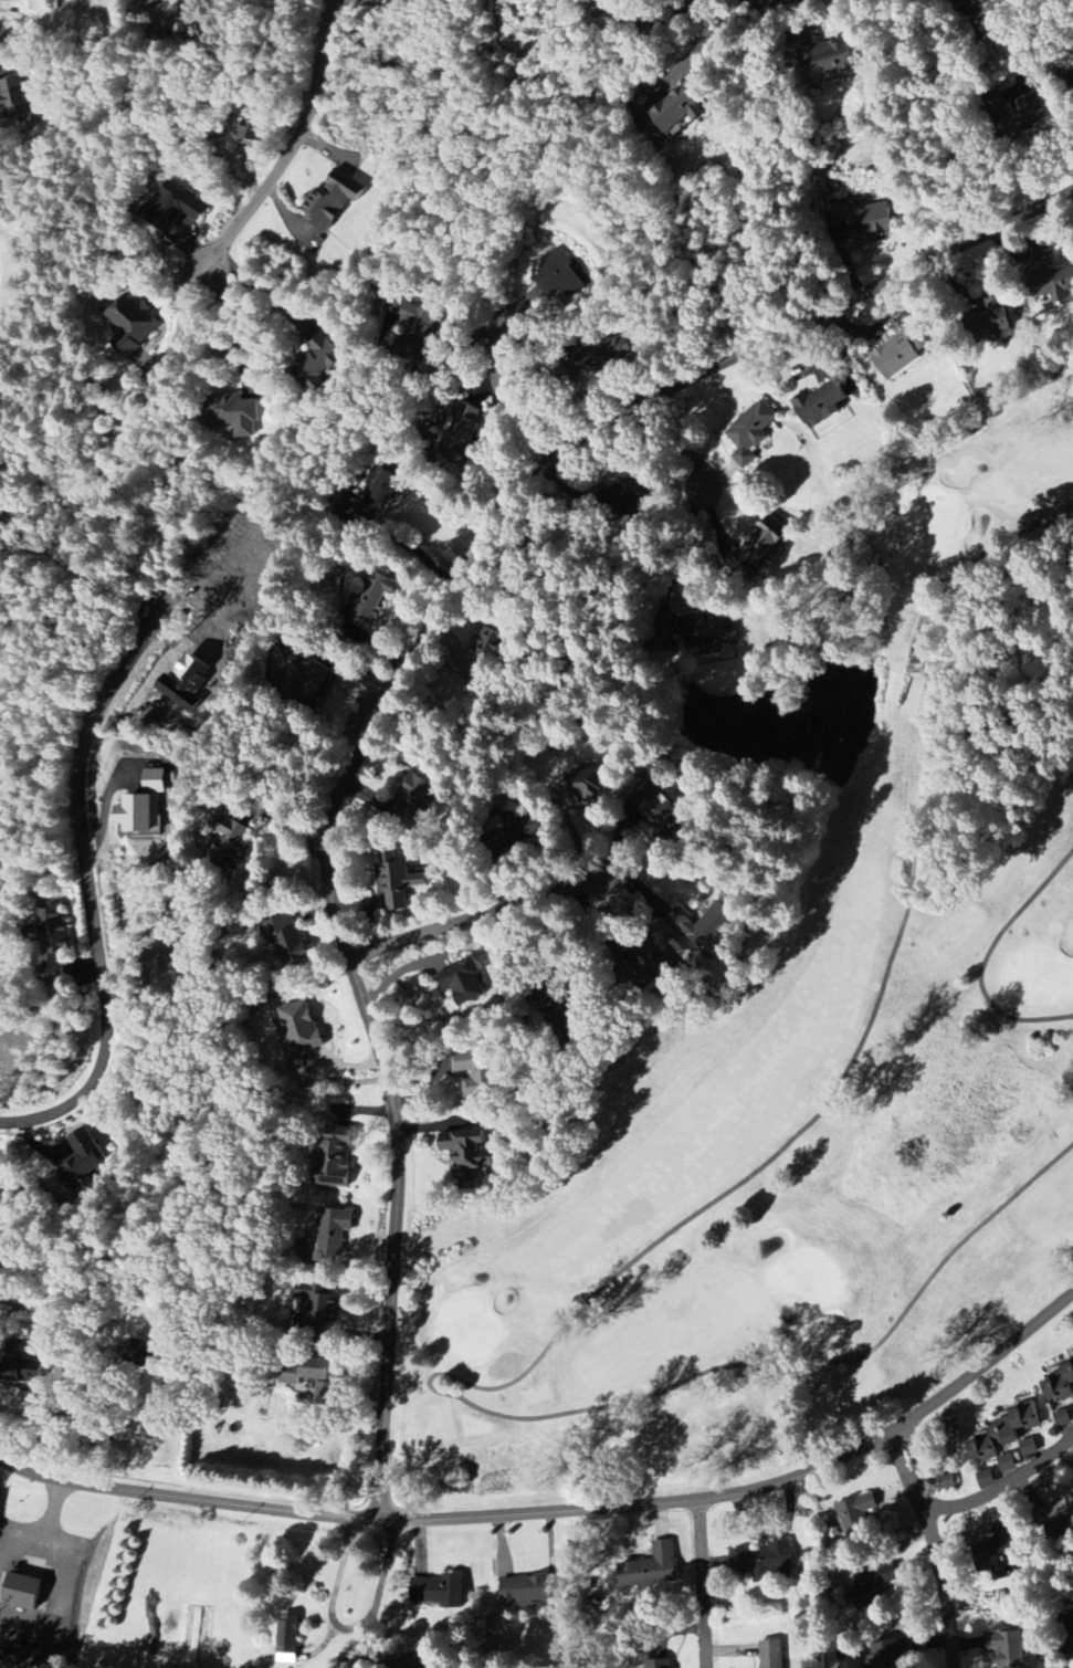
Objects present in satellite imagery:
building: (970, 0)
road: (650, 25)
road: (27, 34)
road: (701, 44)
building: (827, 61)
building: (1071, 76)
building: (17, 98)
building: (671, 109)
building: (252, 132)
road: (294, 145)
building: (332, 200)
building: (175, 209)
building: (870, 221)
building: (559, 275)
road: (265, 291)
building: (1055, 291)
building: (995, 318)
road: (232, 321)
building: (132, 325)
building: (418, 325)
building: (900, 354)
building: (317, 363)
road: (495, 390)
building: (821, 402)
building: (240, 418)
building: (462, 433)
building: (750, 433)
road: (688, 450)
building: (759, 546)
road: (682, 552)
building: (369, 599)
building: (484, 646)
road: (341, 658)
building: (311, 681)
road: (393, 682)
building: (590, 781)
building: (415, 801)
building: (141, 807)
building: (662, 817)
building: (225, 843)
building: (397, 879)
road: (90, 891)
road: (475, 916)
building: (288, 940)
building: (53, 945)
road: (987, 956)
building: (462, 982)
building: (558, 1009)
building: (299, 1028)
park: (821, 1068)
building: (475, 1073)
building: (335, 1156)
building: (470, 1156)
building: (82, 1158)
building: (333, 1234)
road: (610, 1279)
building: (317, 1307)
road: (114, 1364)
building: (20, 1367)
building: (317, 1378)
building: (1060, 1384)
building: (1069, 1407)
building: (1062, 1419)
building: (1007, 1438)
building: (995, 1468)
building: (986, 1480)
road: (1006, 1489)
road: (562, 1508)
road: (54, 1513)
building: (855, 1514)
building: (1060, 1515)
road: (17, 1535)
road: (935, 1546)
building: (764, 1562)
building: (650, 1569)
road: (701, 1583)
building: (871, 1586)
building: (21, 1592)
road: (381, 1592)
building: (439, 1592)
building: (524, 1592)
road: (62, 1609)
building: (1007, 1648)
building: (771, 1655)
building: (884, 1655)
building: (658, 1664)

